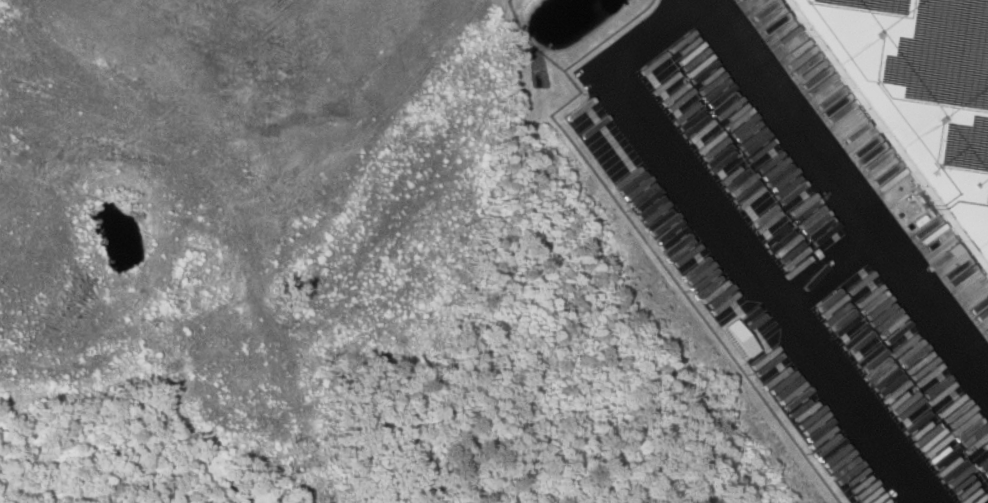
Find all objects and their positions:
building: (667, 88)
building: (916, 96)
road: (848, 187)
road: (733, 245)

